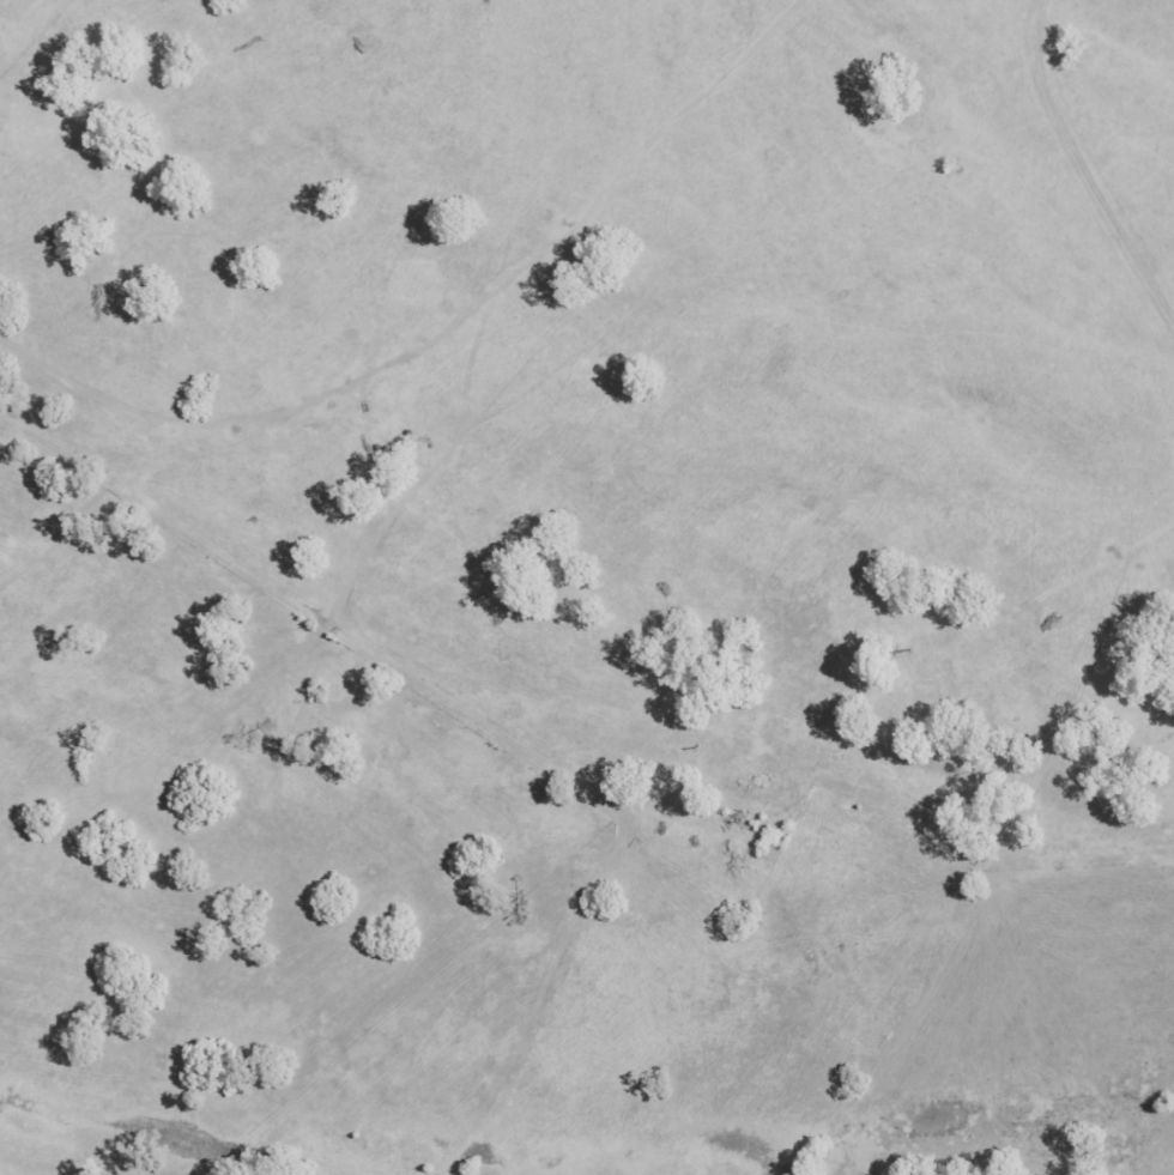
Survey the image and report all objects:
road: (1081, 164)
road: (593, 192)
road: (321, 280)

